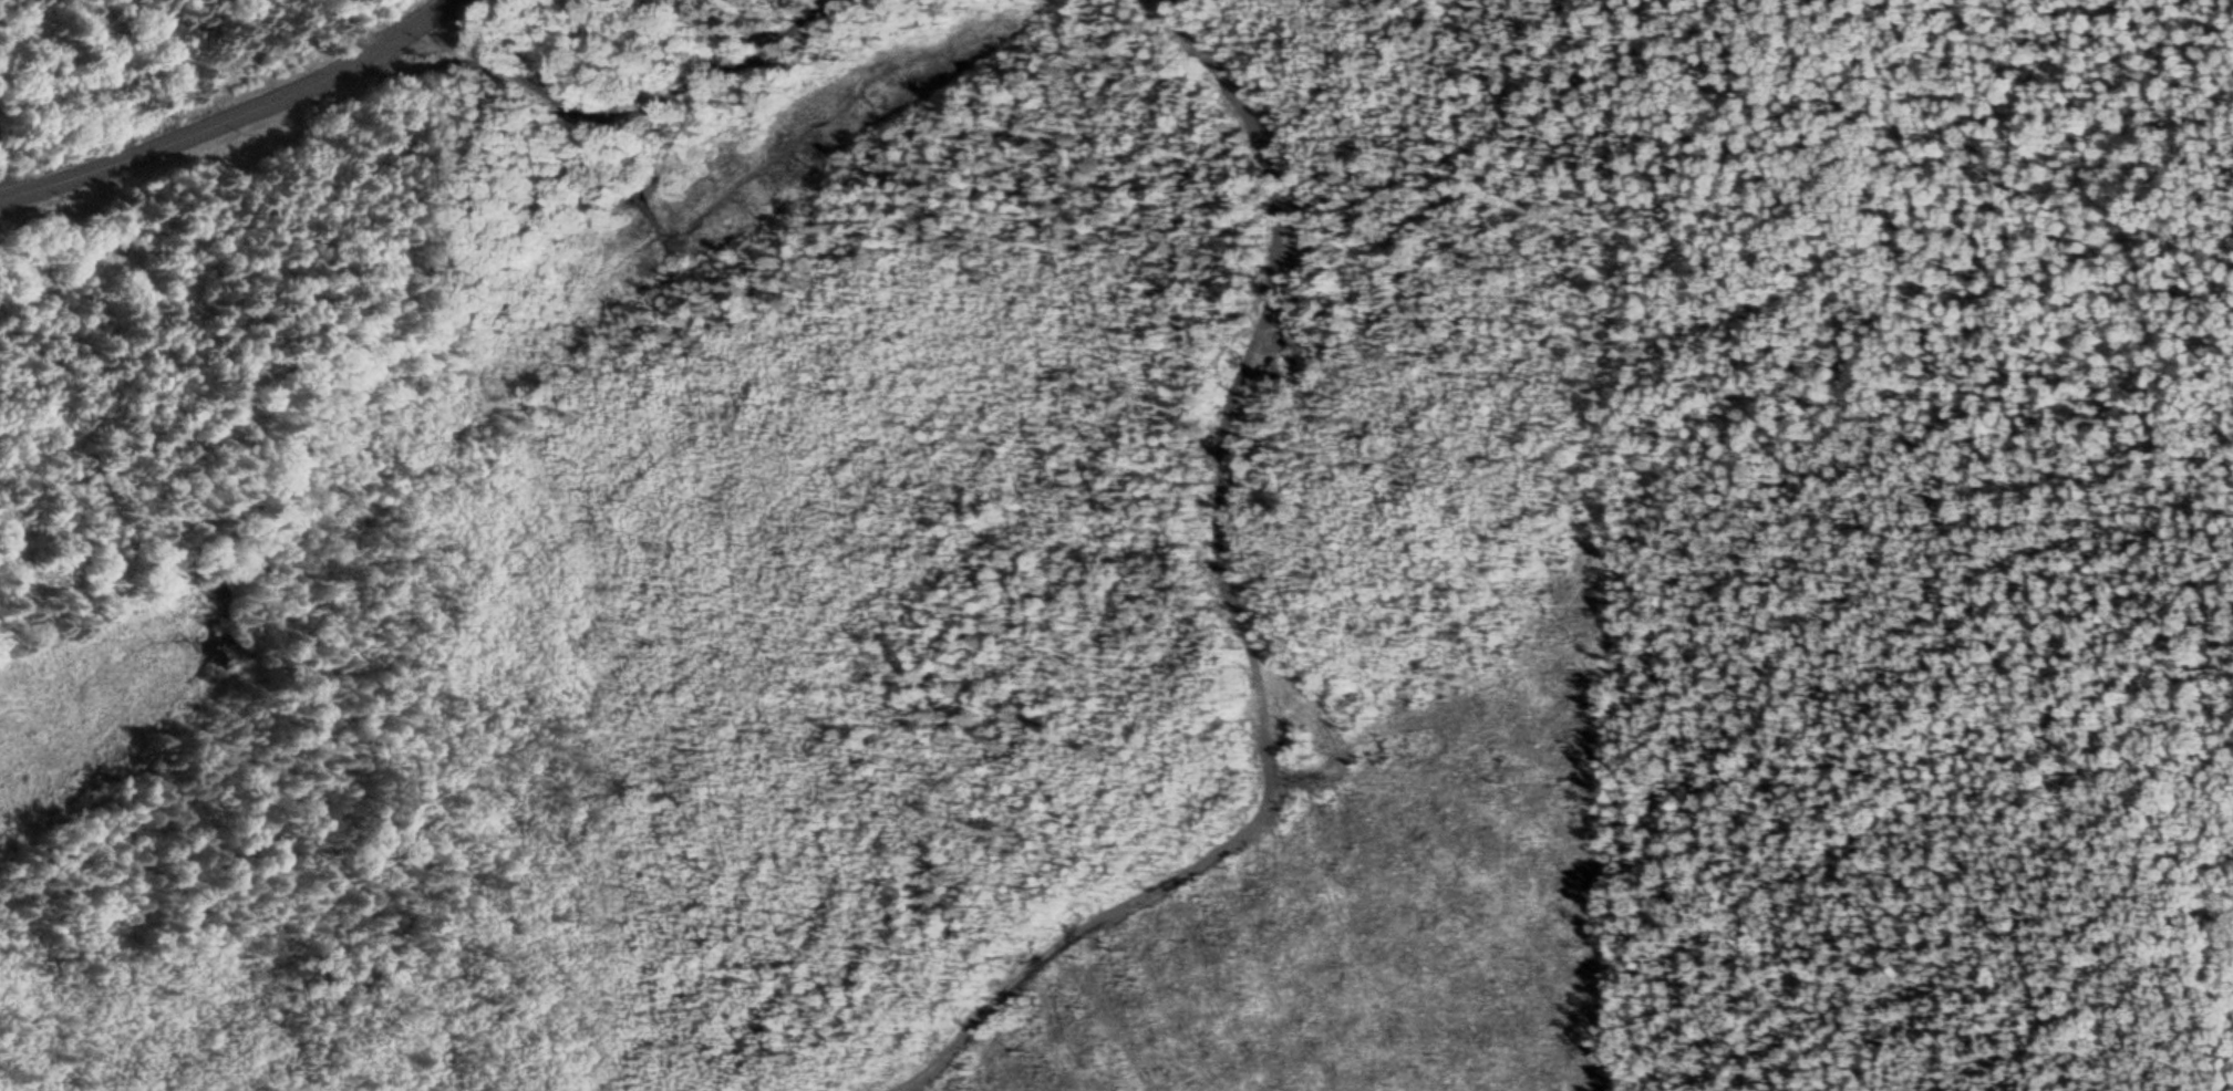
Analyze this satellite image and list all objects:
road: (369, 18)
road: (229, 114)

